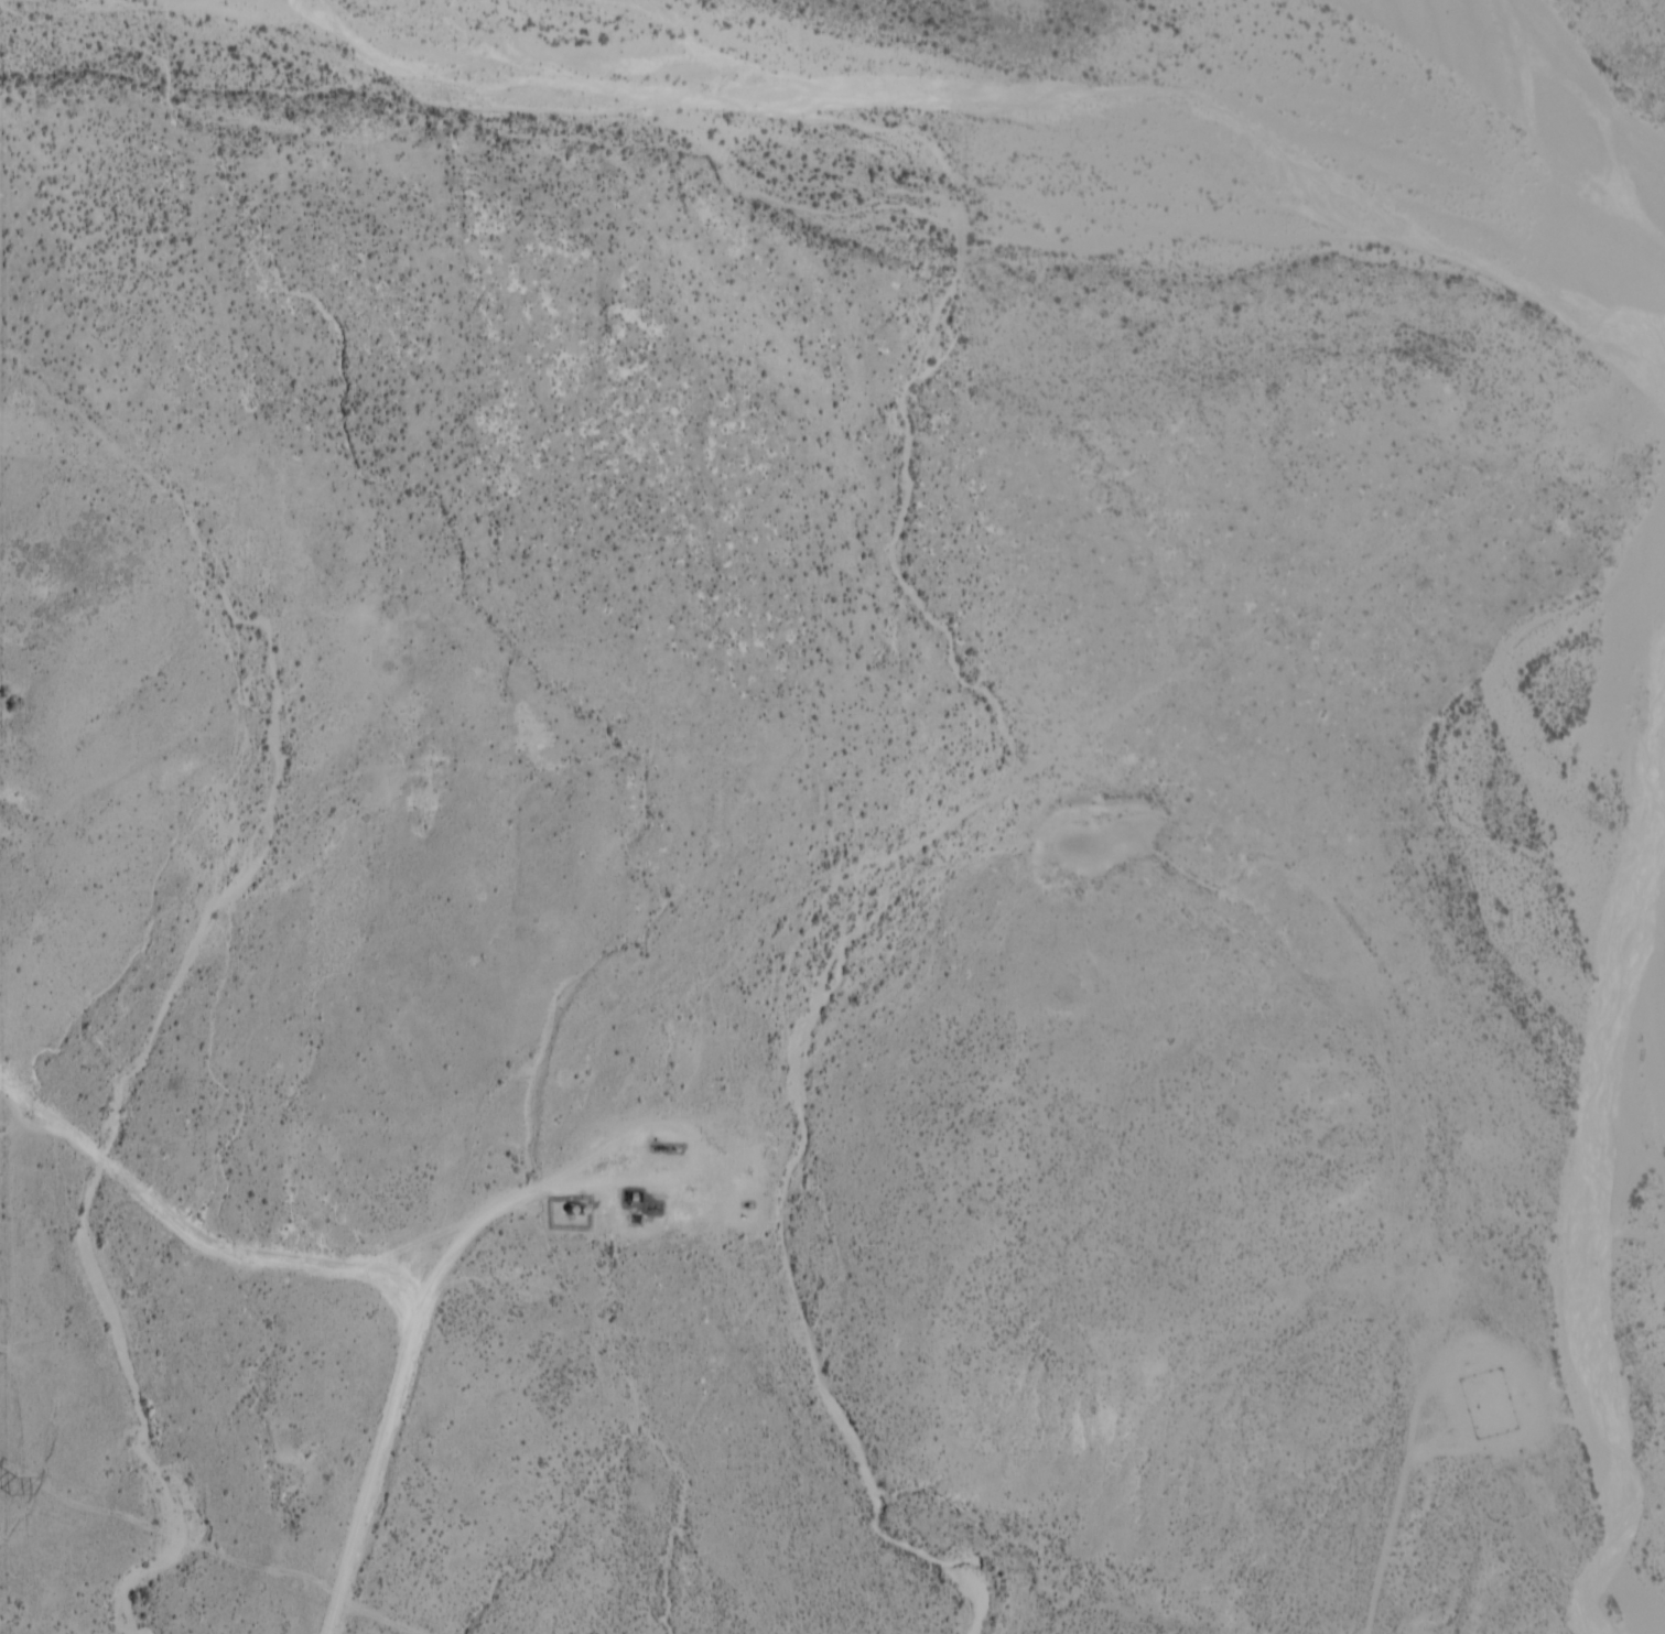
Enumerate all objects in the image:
river: (1561, 98)
river: (1506, 877)
road: (414, 1321)
power tower: (17, 1487)
river: (1651, 1580)
road: (332, 1616)

